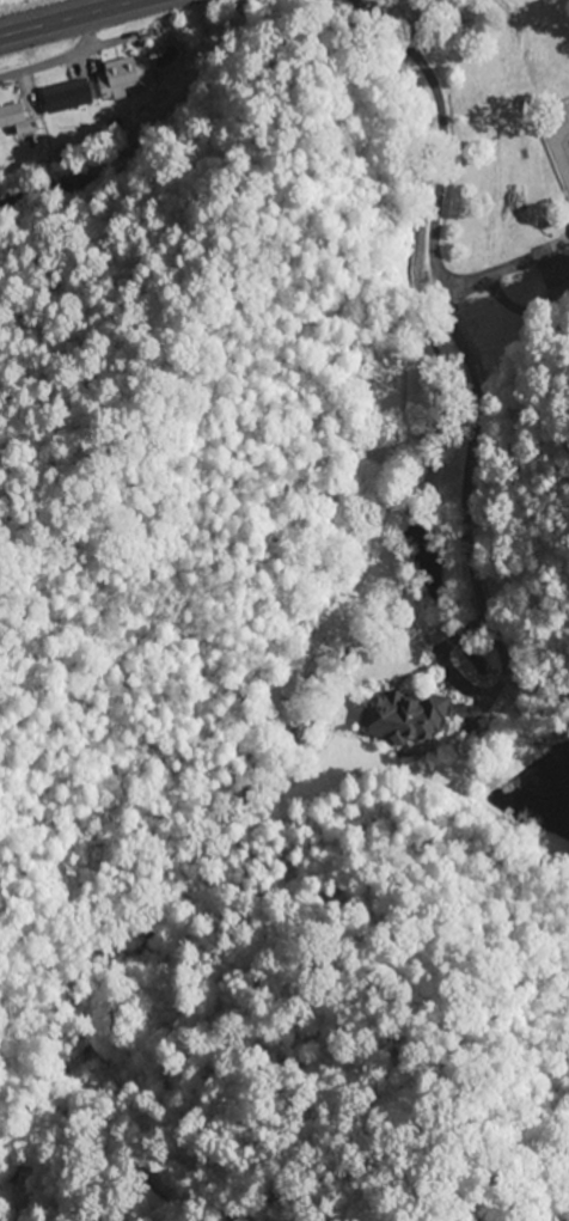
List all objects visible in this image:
road: (72, 18)
road: (61, 60)
building: (123, 78)
building: (66, 98)
building: (11, 116)
building: (555, 274)
building: (406, 718)

